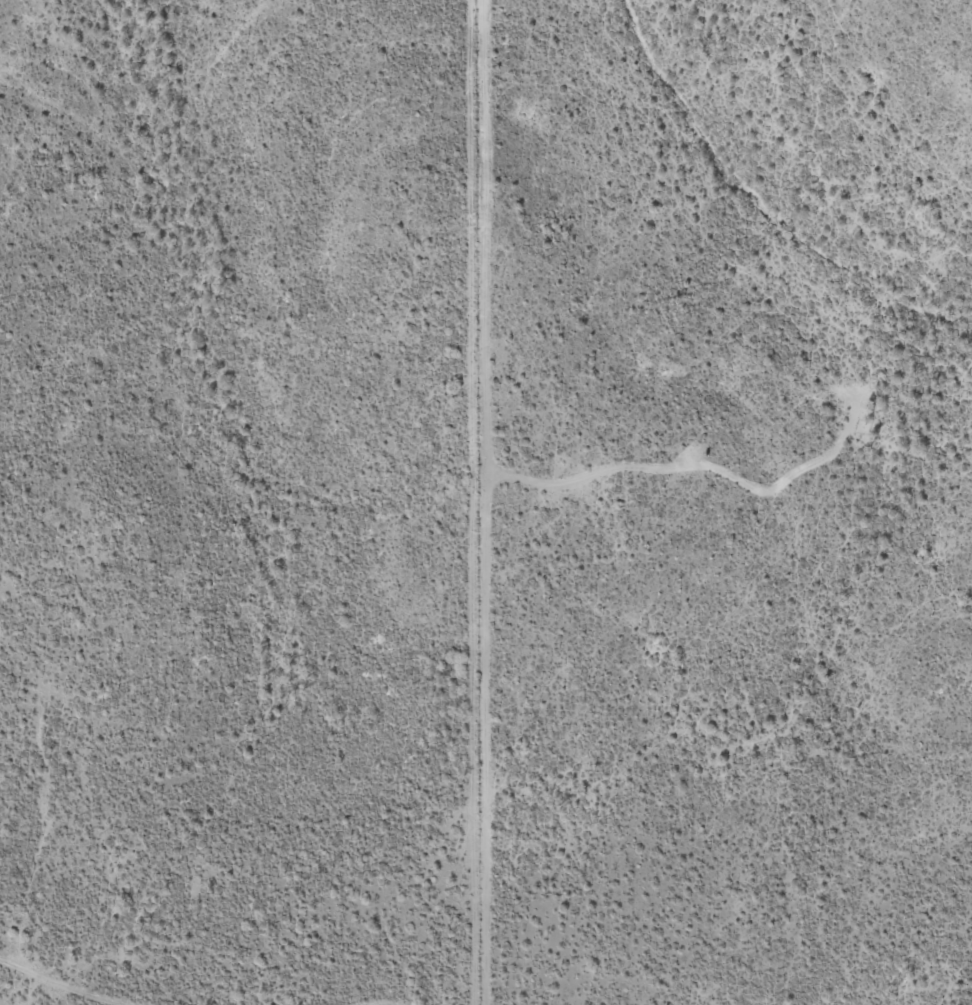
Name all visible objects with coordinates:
road: (73, 987)
road: (400, 1001)

